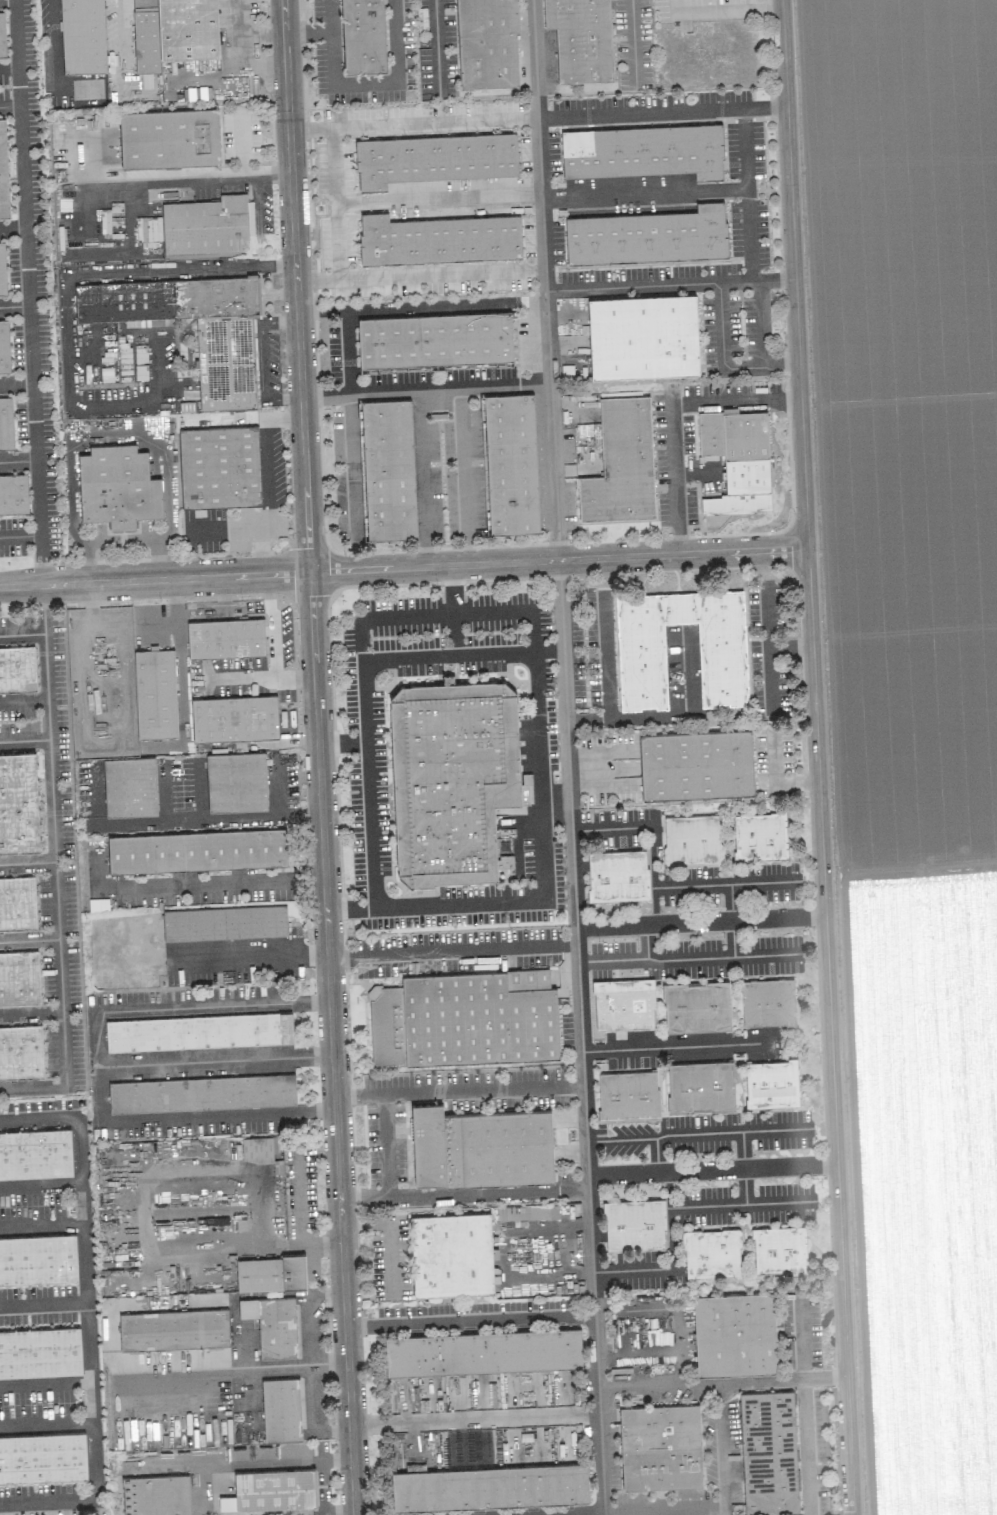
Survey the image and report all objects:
road: (6, 0)
road: (722, 8)
road: (307, 33)
building: (2, 36)
building: (82, 36)
building: (363, 36)
building: (580, 39)
road: (126, 40)
road: (54, 43)
building: (487, 43)
road: (632, 44)
road: (436, 49)
road: (8, 68)
road: (363, 84)
road: (8, 104)
road: (536, 118)
building: (169, 139)
road: (244, 143)
road: (745, 148)
building: (643, 151)
building: (433, 159)
building: (3, 172)
road: (256, 176)
road: (130, 182)
road: (21, 192)
road: (643, 193)
road: (438, 198)
road: (260, 201)
road: (335, 203)
road: (11, 225)
building: (207, 225)
road: (749, 235)
building: (648, 236)
building: (437, 239)
road: (133, 248)
building: (2, 271)
road: (71, 275)
road: (420, 275)
road: (545, 279)
road: (767, 280)
road: (643, 286)
road: (13, 303)
road: (405, 308)
road: (762, 324)
road: (721, 326)
building: (643, 336)
building: (434, 340)
building: (4, 347)
building: (224, 347)
road: (263, 361)
road: (760, 367)
road: (483, 386)
road: (671, 414)
road: (418, 420)
road: (282, 421)
building: (6, 424)
road: (33, 424)
road: (113, 442)
building: (736, 461)
building: (510, 463)
road: (263, 464)
building: (621, 464)
building: (219, 467)
road: (352, 468)
building: (387, 469)
road: (464, 476)
building: (117, 487)
building: (13, 494)
road: (37, 523)
road: (19, 533)
road: (260, 541)
road: (404, 568)
road: (452, 610)
road: (464, 613)
road: (272, 627)
road: (21, 632)
building: (225, 638)
road: (790, 647)
road: (768, 649)
road: (605, 655)
road: (446, 656)
building: (640, 664)
building: (17, 669)
road: (265, 679)
building: (155, 693)
road: (23, 698)
crop: (912, 701)
road: (535, 713)
road: (666, 716)
building: (234, 718)
road: (24, 738)
road: (341, 742)
road: (318, 757)
road: (818, 757)
building: (696, 764)
road: (366, 768)
building: (453, 778)
building: (236, 782)
building: (129, 787)
road: (95, 796)
building: (18, 803)
road: (555, 805)
road: (208, 821)
road: (641, 827)
building: (760, 836)
building: (692, 839)
building: (196, 850)
road: (27, 861)
road: (54, 870)
building: (617, 875)
road: (223, 885)
road: (708, 885)
road: (478, 902)
road: (730, 902)
building: (17, 903)
road: (701, 921)
building: (224, 923)
road: (732, 938)
road: (29, 939)
road: (646, 941)
road: (492, 947)
road: (368, 953)
road: (725, 957)
road: (252, 958)
road: (611, 960)
building: (19, 978)
building: (768, 1002)
building: (623, 1003)
building: (696, 1006)
road: (31, 1014)
building: (464, 1018)
building: (198, 1032)
road: (581, 1037)
road: (683, 1047)
building: (21, 1052)
road: (216, 1059)
road: (100, 1065)
building: (771, 1083)
building: (700, 1086)
road: (458, 1090)
building: (201, 1093)
building: (628, 1096)
road: (731, 1132)
road: (620, 1140)
road: (385, 1144)
building: (480, 1147)
building: (258, 1149)
building: (35, 1154)
road: (656, 1156)
road: (742, 1168)
road: (712, 1170)
road: (40, 1185)
road: (150, 1186)
road: (669, 1190)
road: (463, 1193)
road: (303, 1199)
road: (672, 1223)
building: (634, 1224)
road: (41, 1228)
road: (392, 1235)
road: (297, 1246)
road: (324, 1248)
building: (779, 1249)
building: (711, 1253)
building: (451, 1254)
building: (38, 1259)
road: (633, 1271)
building: (270, 1273)
road: (43, 1304)
road: (87, 1318)
road: (470, 1321)
building: (272, 1324)
building: (173, 1329)
building: (734, 1334)
road: (801, 1334)
building: (482, 1351)
road: (637, 1351)
building: (40, 1352)
road: (304, 1361)
road: (198, 1371)
road: (783, 1379)
road: (700, 1382)
road: (45, 1383)
road: (639, 1385)
building: (281, 1409)
road: (474, 1418)
road: (47, 1425)
building: (660, 1446)
road: (805, 1447)
road: (722, 1448)
building: (768, 1452)
building: (42, 1457)
building: (489, 1486)
building: (271, 1490)
building: (156, 1495)
road: (664, 1509)
road: (573, 1513)

